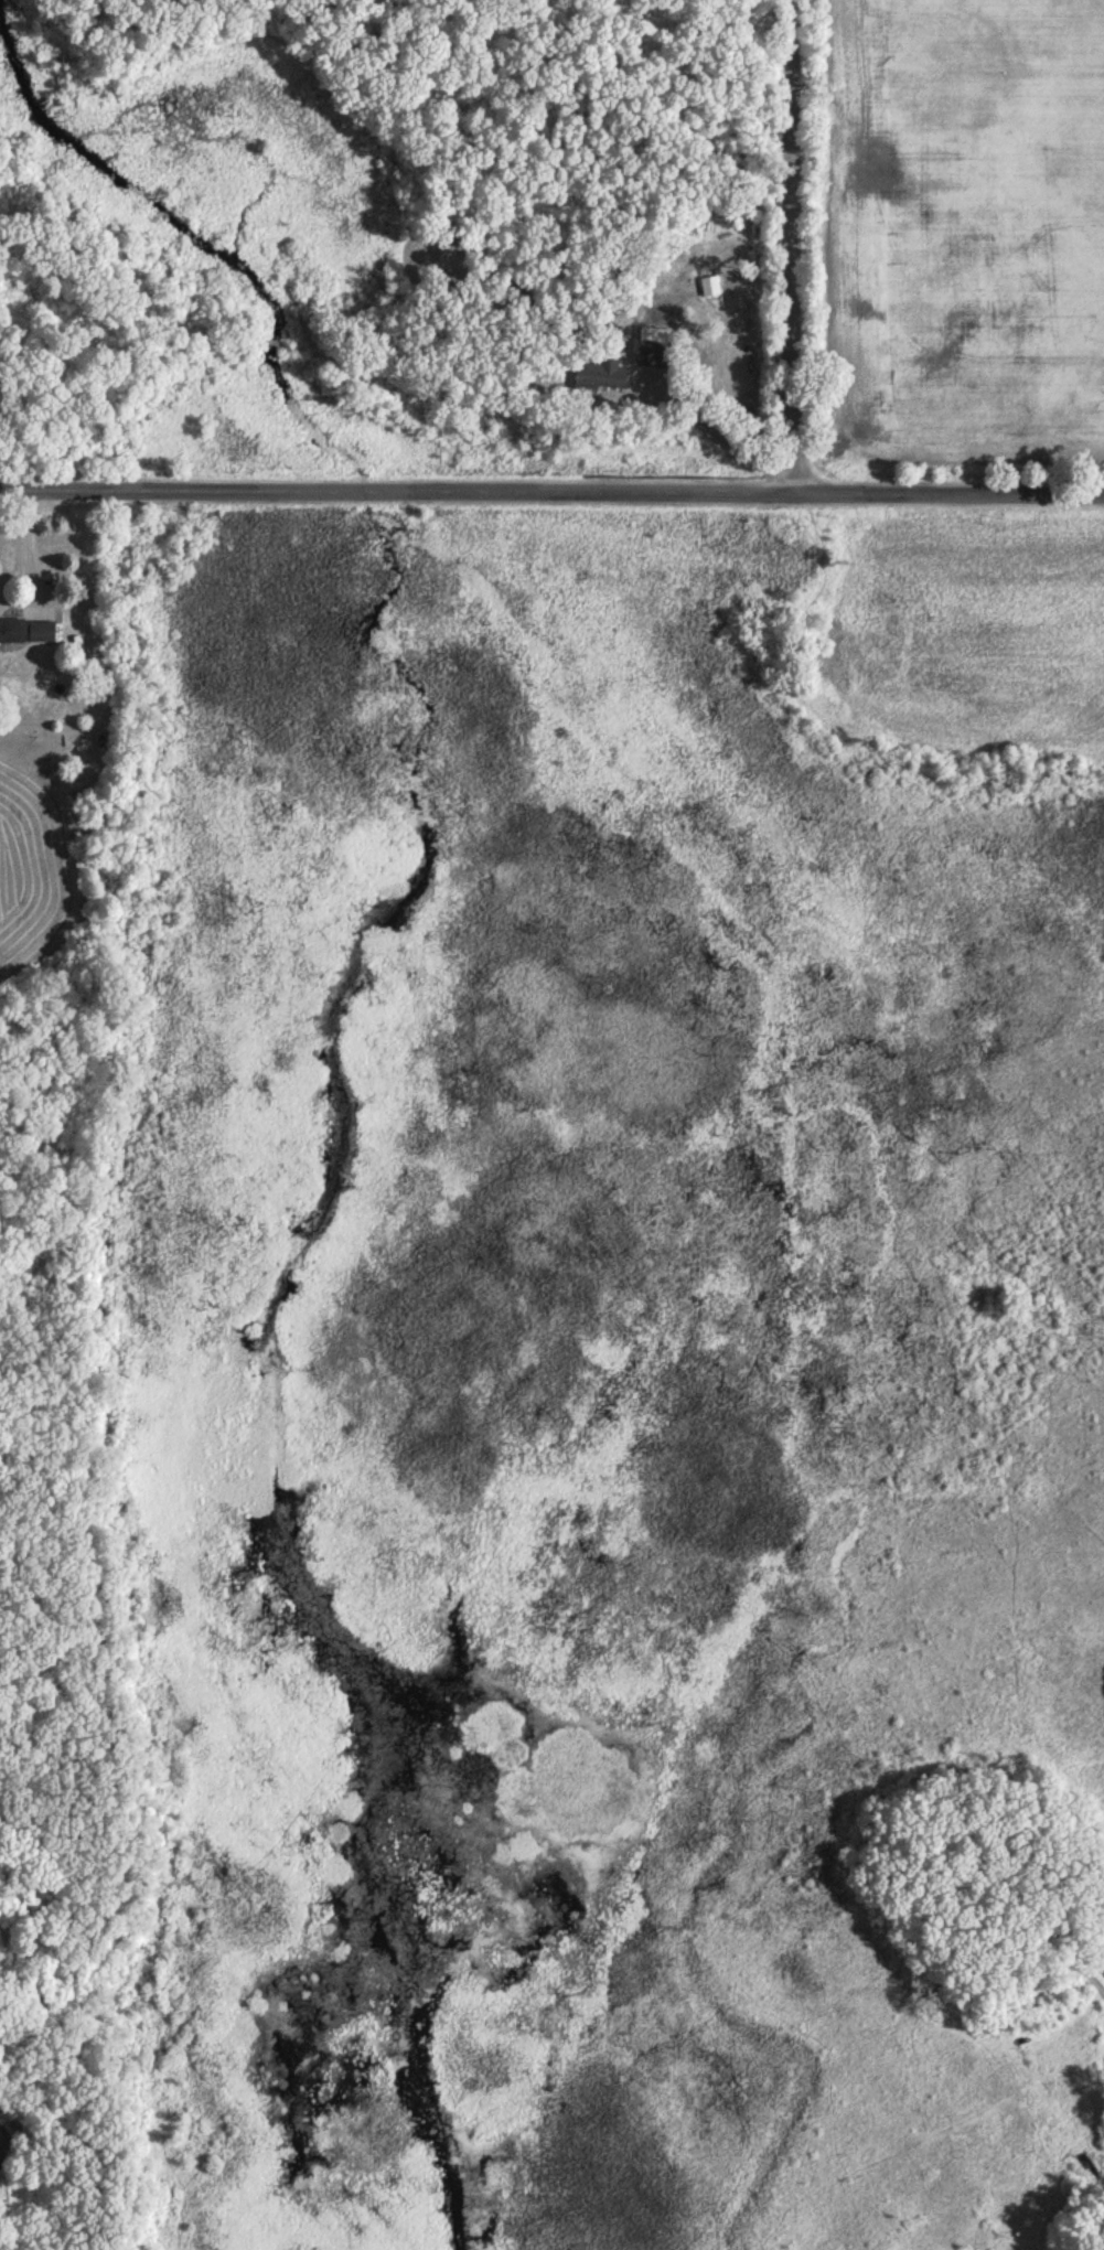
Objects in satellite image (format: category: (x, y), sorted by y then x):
road: (790, 249)
building: (710, 285)
building: (654, 345)
road: (551, 497)
building: (12, 630)
building: (42, 630)
building: (0, 2155)

